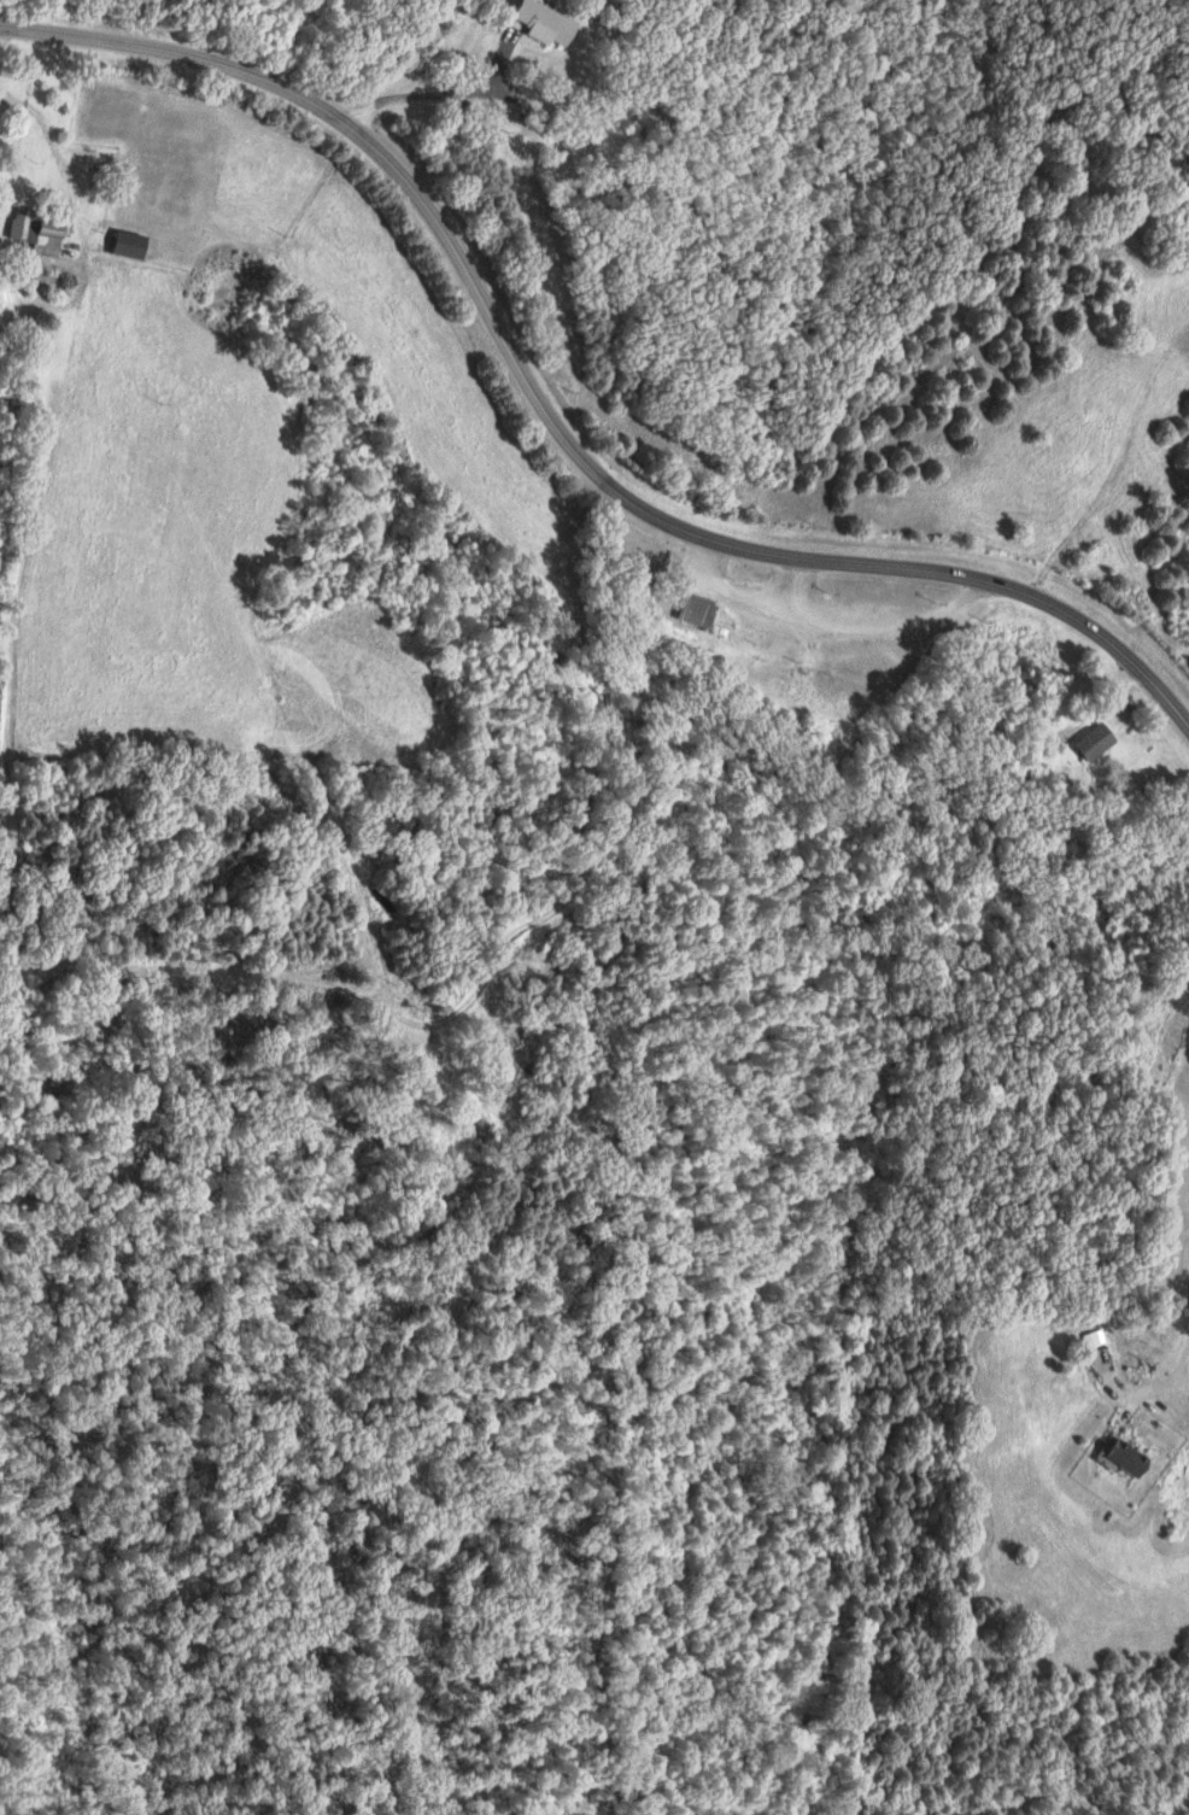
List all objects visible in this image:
building: (545, 22)
road: (424, 95)
building: (36, 232)
road: (551, 429)
road: (1114, 450)
building: (704, 611)
building: (1097, 740)
road: (1187, 1058)
road: (1171, 1359)
building: (1131, 1460)

